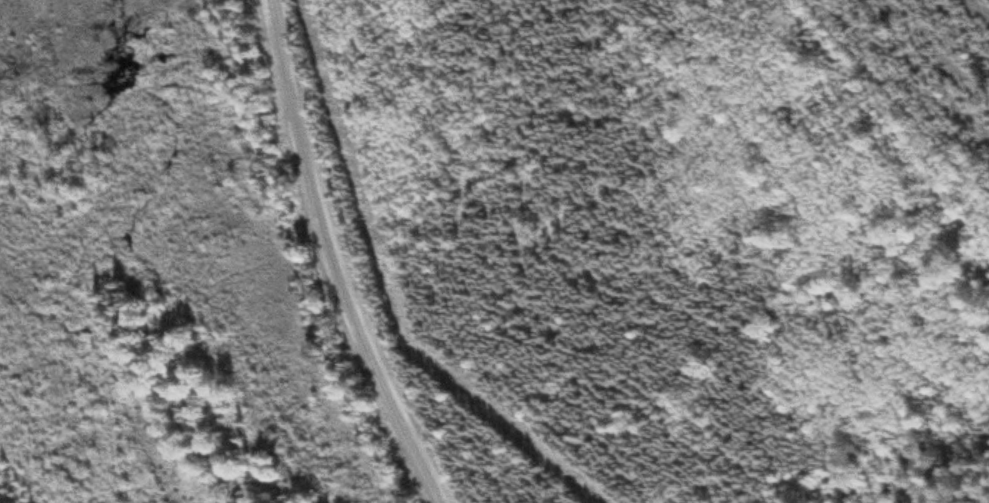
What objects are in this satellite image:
road: (336, 262)

